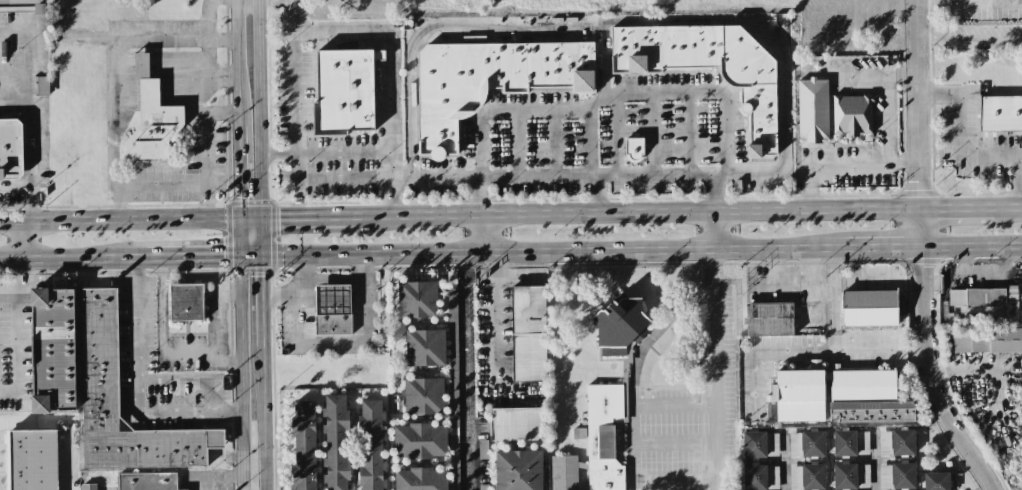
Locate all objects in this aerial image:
road: (947, 0)
road: (965, 0)
building: (23, 6)
road: (628, 20)
road: (175, 39)
road: (971, 39)
road: (237, 62)
road: (602, 71)
road: (903, 73)
road: (293, 77)
building: (489, 81)
building: (42, 86)
building: (343, 92)
road: (701, 92)
road: (390, 94)
building: (758, 99)
road: (921, 101)
road: (259, 107)
road: (29, 110)
building: (812, 110)
road: (537, 111)
building: (1000, 113)
building: (851, 115)
building: (152, 118)
road: (219, 119)
road: (887, 119)
road: (687, 132)
road: (652, 133)
road: (614, 135)
building: (10, 149)
building: (634, 149)
road: (966, 153)
road: (905, 161)
road: (830, 163)
road: (390, 167)
road: (239, 173)
road: (653, 174)
road: (520, 176)
road: (357, 180)
road: (15, 187)
road: (196, 187)
road: (390, 197)
road: (960, 204)
road: (1010, 204)
road: (637, 209)
road: (308, 216)
traffic signals: (262, 217)
road: (250, 218)
traffic signals: (239, 219)
road: (119, 220)
road: (712, 228)
road: (482, 232)
road: (262, 236)
road: (238, 238)
road: (26, 240)
road: (972, 246)
road: (883, 247)
road: (553, 250)
traffic signals: (263, 255)
road: (250, 256)
road: (74, 257)
road: (193, 257)
traffic signals: (238, 258)
road: (467, 260)
road: (299, 275)
road: (807, 281)
road: (312, 295)
road: (264, 299)
building: (986, 299)
building: (417, 300)
building: (333, 301)
gas station: (333, 301)
building: (186, 302)
building: (869, 308)
road: (22, 310)
road: (493, 319)
building: (769, 319)
building: (334, 325)
building: (620, 328)
road: (218, 331)
road: (162, 333)
building: (528, 333)
building: (987, 340)
road: (352, 344)
building: (425, 348)
building: (53, 350)
road: (806, 350)
road: (924, 355)
building: (99, 359)
road: (715, 369)
road: (973, 370)
road: (241, 373)
road: (143, 377)
road: (468, 379)
building: (453, 391)
building: (799, 395)
building: (423, 396)
building: (867, 397)
road: (266, 417)
building: (518, 424)
building: (604, 435)
building: (420, 441)
building: (336, 442)
building: (884, 442)
building: (902, 442)
building: (844, 443)
building: (863, 443)
building: (371, 444)
building: (760, 444)
building: (794, 444)
building: (812, 444)
building: (304, 445)
building: (482, 449)
road: (683, 456)
road: (873, 459)
building: (33, 460)
road: (784, 462)
building: (518, 470)
building: (565, 472)
building: (844, 476)
building: (863, 476)
building: (896, 476)
building: (754, 477)
building: (807, 477)
building: (420, 479)
building: (147, 481)
building: (936, 481)
building: (89, 486)
building: (483, 487)

